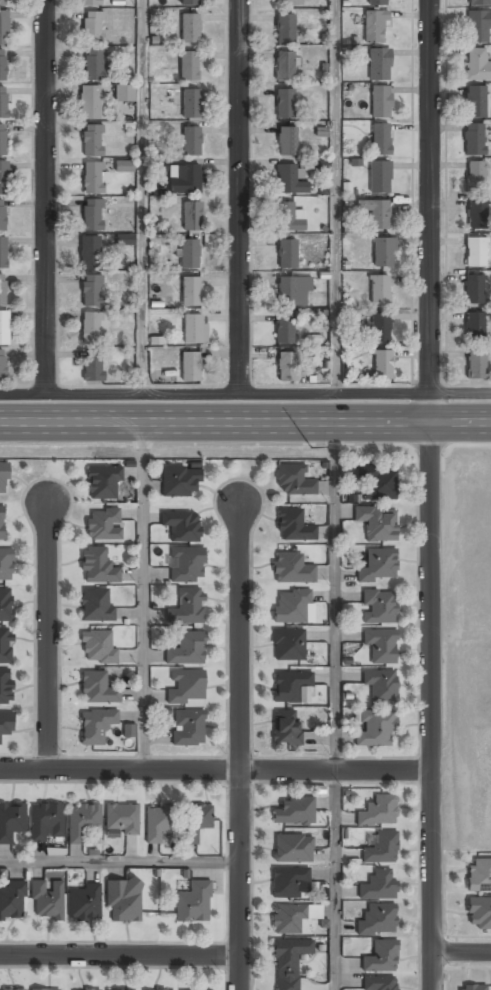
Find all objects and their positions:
building: (191, 2)
building: (377, 2)
building: (2, 3)
building: (90, 3)
building: (288, 3)
building: (478, 3)
building: (374, 26)
building: (478, 26)
building: (4, 27)
building: (92, 27)
building: (189, 28)
building: (285, 28)
building: (379, 64)
building: (2, 65)
building: (94, 65)
building: (188, 66)
building: (477, 66)
building: (284, 67)
building: (124, 93)
building: (379, 101)
building: (2, 102)
building: (475, 102)
building: (89, 103)
building: (191, 103)
building: (285, 105)
building: (473, 138)
building: (2, 139)
building: (380, 139)
building: (91, 140)
building: (191, 140)
building: (286, 142)
building: (158, 165)
building: (124, 167)
building: (475, 174)
building: (4, 177)
building: (93, 177)
building: (189, 178)
building: (379, 178)
building: (288, 180)
road: (46, 196)
road: (141, 196)
road: (240, 196)
road: (335, 196)
road: (431, 211)
building: (375, 213)
building: (91, 214)
building: (477, 214)
building: (2, 215)
building: (191, 216)
building: (289, 217)
building: (125, 239)
building: (475, 251)
building: (2, 252)
building: (89, 253)
building: (287, 253)
building: (383, 253)
building: (189, 255)
building: (473, 289)
building: (379, 290)
building: (2, 291)
building: (91, 291)
building: (190, 292)
building: (293, 292)
building: (474, 323)
building: (90, 327)
building: (4, 328)
building: (379, 328)
building: (194, 329)
building: (284, 331)
building: (382, 365)
building: (476, 365)
building: (2, 366)
building: (189, 366)
building: (93, 367)
building: (286, 367)
road: (245, 393)
road: (245, 423)
power tower: (347, 445)
building: (3, 479)
building: (102, 482)
building: (179, 482)
building: (293, 482)
building: (377, 483)
building: (2, 524)
building: (377, 524)
building: (102, 525)
building: (181, 526)
building: (293, 527)
building: (5, 565)
building: (186, 565)
building: (378, 566)
building: (97, 567)
building: (291, 569)
road: (337, 595)
road: (143, 596)
building: (5, 606)
building: (95, 606)
building: (291, 607)
building: (186, 608)
building: (378, 608)
road: (51, 631)
building: (5, 646)
building: (288, 646)
building: (380, 646)
building: (97, 648)
building: (186, 650)
building: (5, 687)
building: (186, 687)
building: (290, 687)
building: (380, 687)
building: (96, 689)
road: (431, 706)
building: (6, 723)
building: (95, 727)
building: (286, 727)
building: (187, 728)
building: (375, 729)
building: (128, 730)
road: (243, 743)
road: (216, 769)
building: (294, 812)
building: (378, 812)
building: (121, 819)
building: (11, 822)
building: (45, 822)
building: (82, 822)
building: (195, 822)
building: (156, 824)
building: (292, 849)
building: (381, 849)
road: (121, 861)
building: (479, 876)
road: (336, 879)
building: (289, 884)
building: (378, 885)
building: (46, 900)
building: (12, 902)
building: (122, 902)
building: (84, 904)
building: (193, 904)
building: (479, 914)
building: (288, 919)
building: (377, 920)
road: (462, 954)
road: (121, 956)
building: (381, 958)
building: (288, 963)
building: (379, 983)
building: (472, 988)
building: (13, 989)
building: (43, 989)
building: (92, 989)
building: (171, 989)
building: (206, 989)

